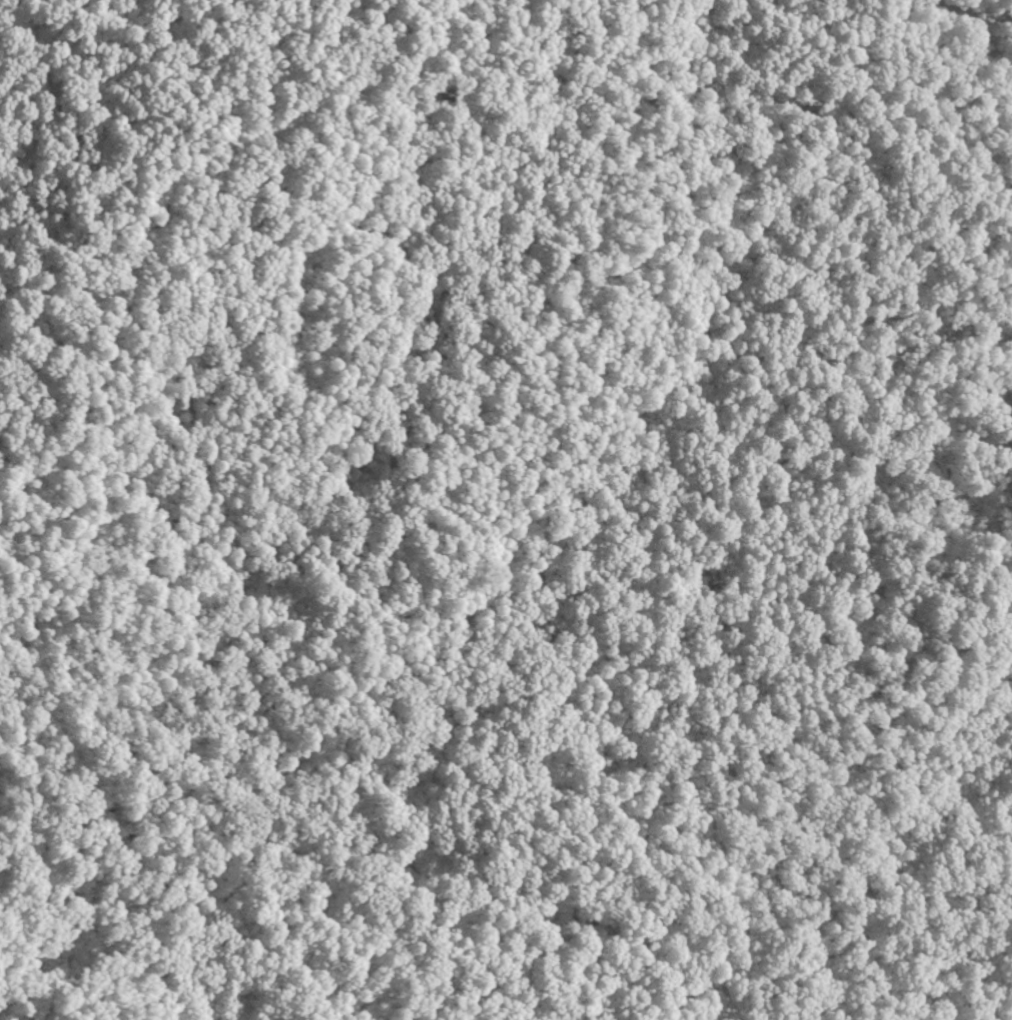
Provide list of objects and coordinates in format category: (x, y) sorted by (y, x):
road: (981, 33)
road: (1004, 429)

